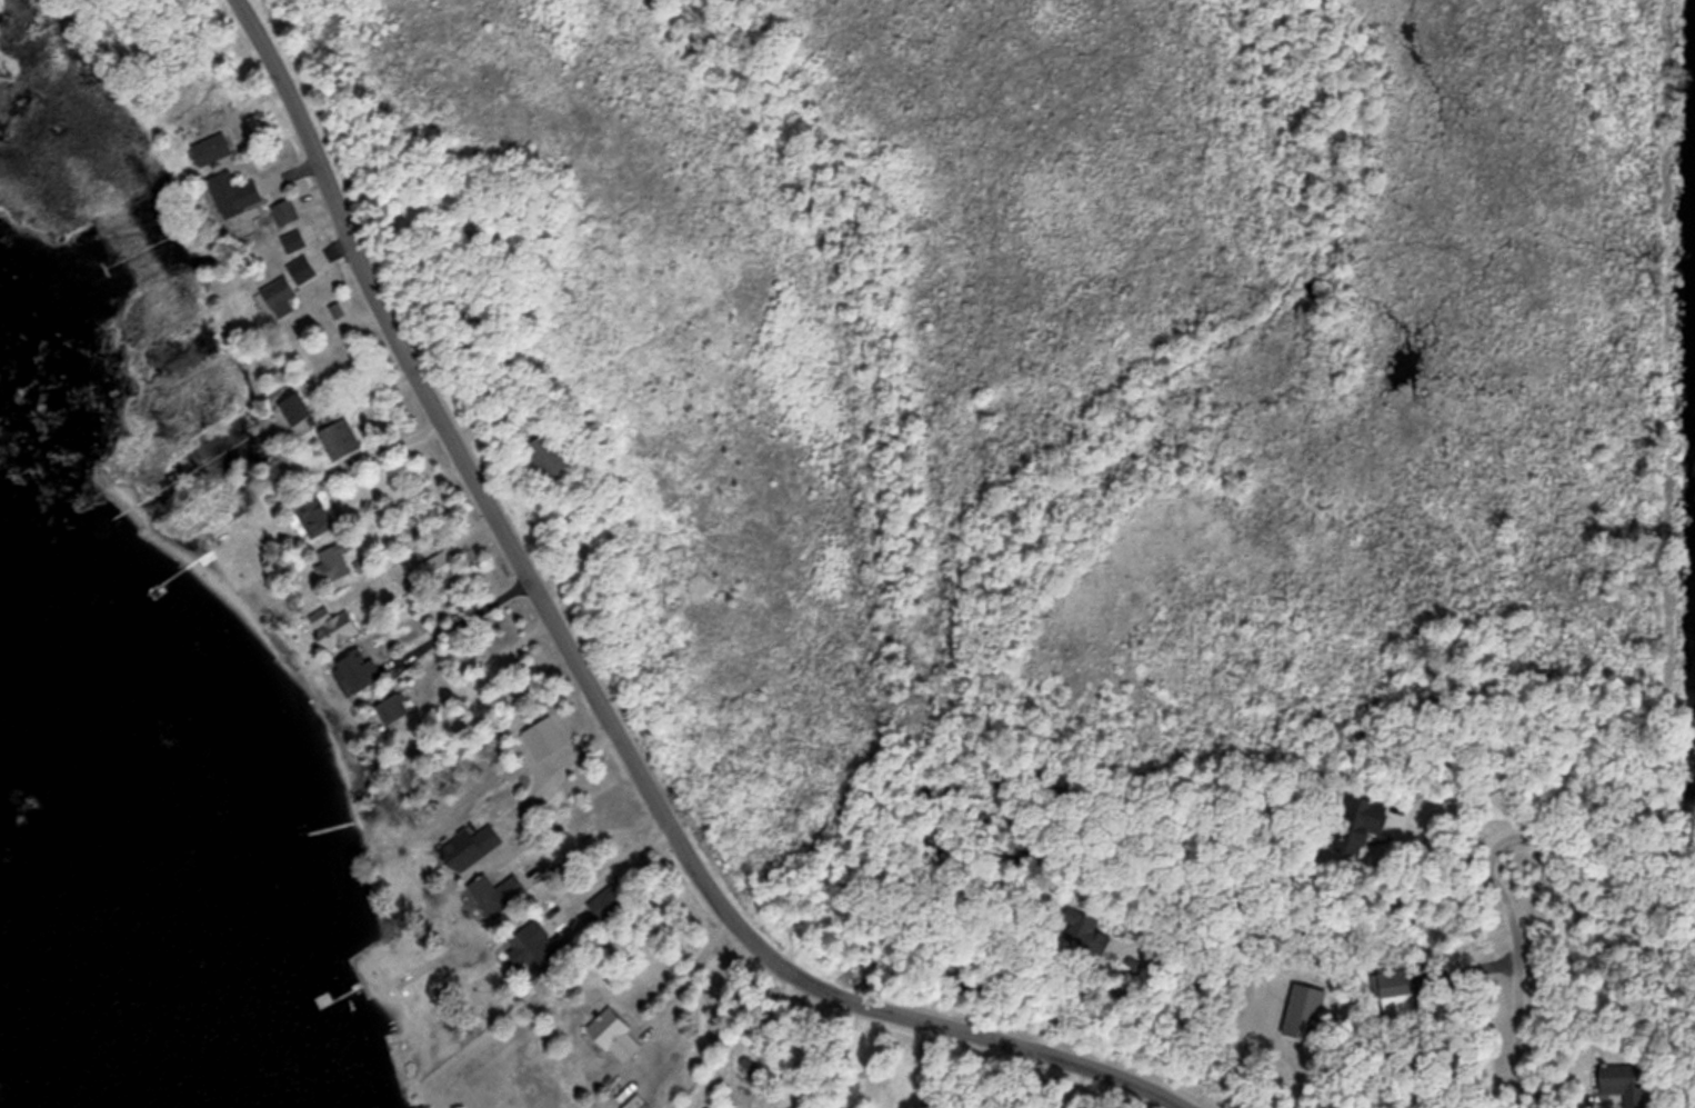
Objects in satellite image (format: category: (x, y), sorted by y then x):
building: (208, 149)
building: (230, 192)
building: (281, 209)
building: (298, 268)
building: (275, 296)
road: (367, 393)
building: (290, 407)
building: (335, 438)
building: (543, 452)
road: (399, 493)
building: (314, 512)
road: (415, 553)
building: (332, 560)
building: (435, 566)
road: (457, 622)
building: (332, 630)
building: (353, 668)
road: (595, 681)
building: (388, 707)
road: (555, 769)
building: (1354, 822)
building: (465, 846)
road: (609, 865)
building: (534, 947)
road: (1521, 964)
road: (689, 974)
building: (1391, 984)
building: (1298, 1009)
road: (740, 1034)
building: (613, 1038)
road: (1268, 1051)
building: (1624, 1081)
road: (1085, 1087)
building: (631, 1102)

